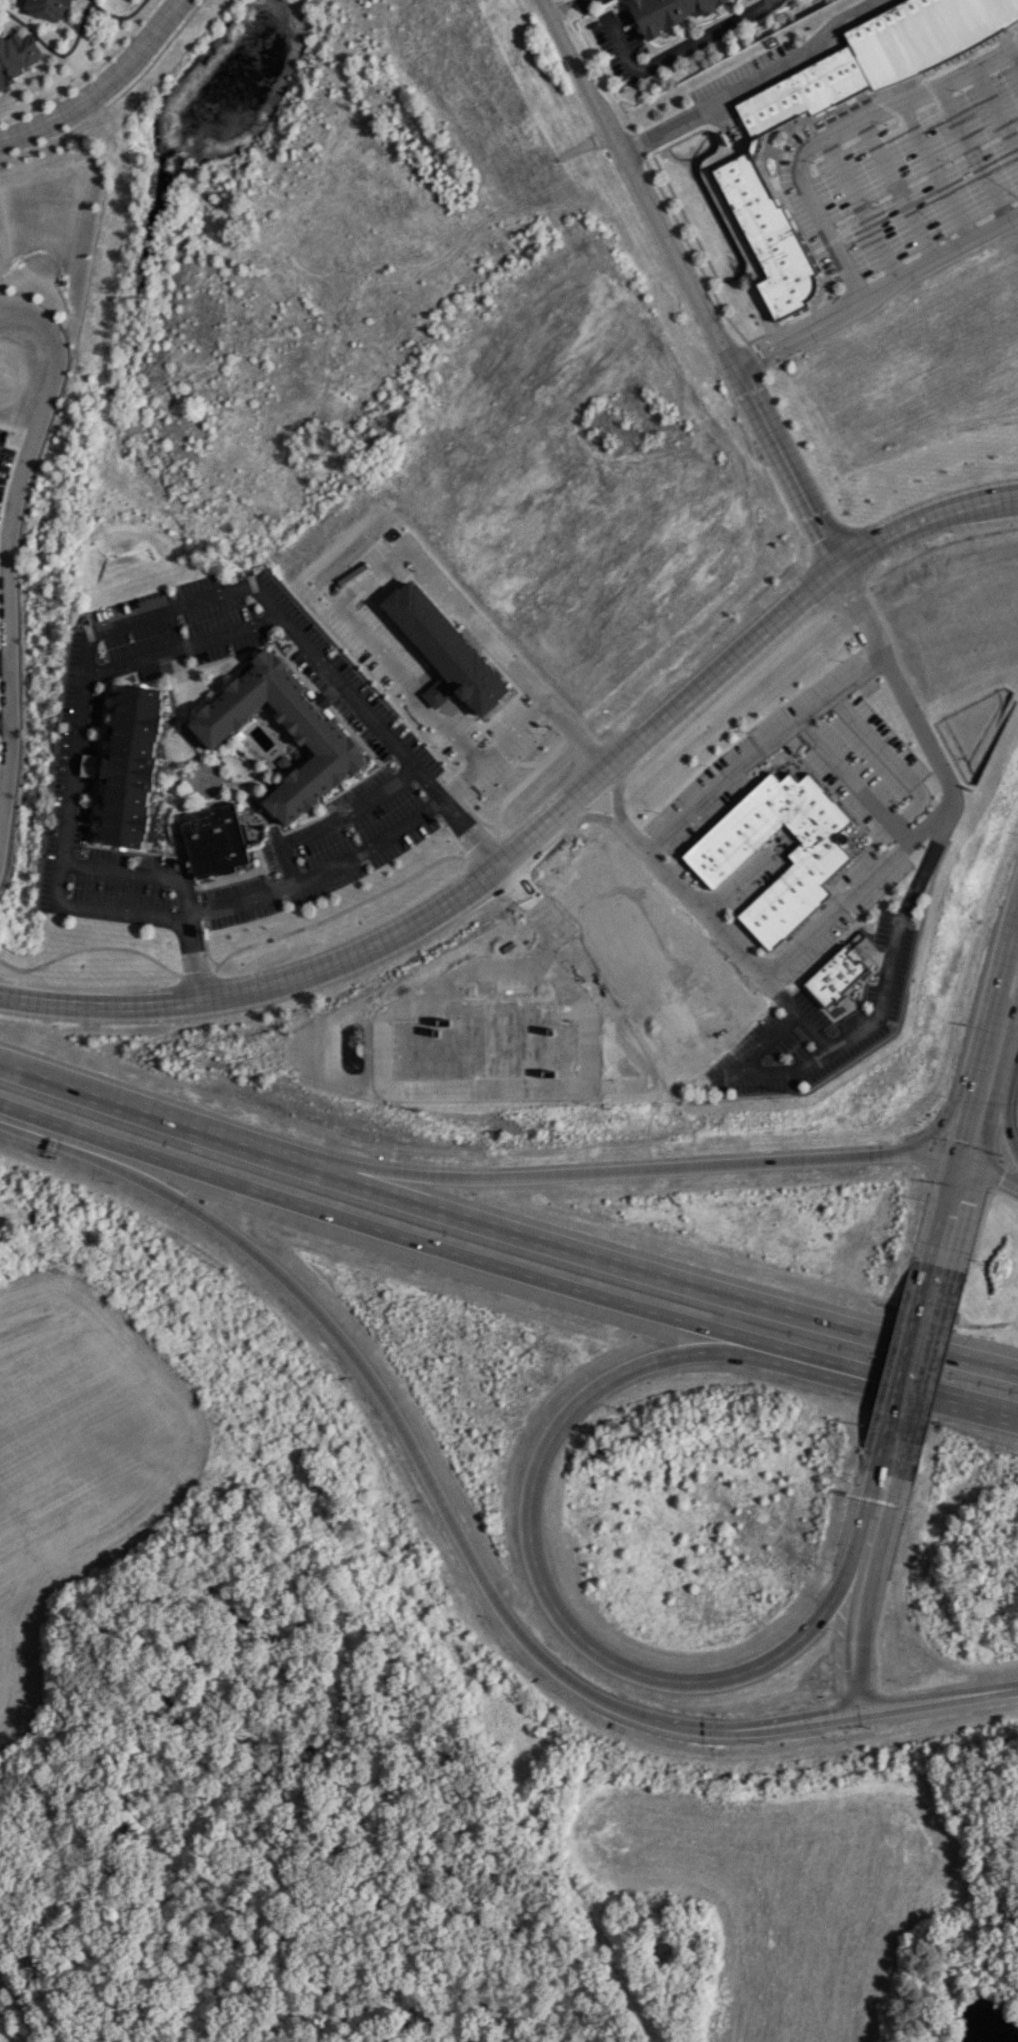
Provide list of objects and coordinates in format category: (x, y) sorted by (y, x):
road: (770, 2)
building: (46, 8)
building: (667, 13)
road: (117, 17)
road: (705, 36)
road: (619, 44)
road: (60, 54)
building: (16, 55)
road: (1014, 55)
road: (88, 73)
road: (755, 82)
road: (101, 85)
road: (919, 94)
road: (116, 98)
road: (997, 107)
road: (973, 152)
building: (748, 156)
road: (935, 170)
road: (899, 188)
road: (861, 206)
road: (818, 217)
road: (678, 224)
road: (752, 249)
road: (691, 283)
road: (875, 289)
road: (762, 334)
road: (921, 519)
road: (9, 558)
road: (369, 576)
road: (176, 638)
building: (445, 646)
road: (5, 662)
road: (7, 720)
road: (919, 728)
building: (320, 736)
road: (756, 747)
road: (890, 757)
building: (132, 767)
road: (851, 777)
road: (459, 780)
road: (616, 791)
road: (591, 816)
building: (175, 831)
building: (215, 839)
building: (808, 872)
road: (732, 884)
road: (280, 889)
road: (856, 890)
road: (464, 891)
road: (707, 920)
road: (238, 947)
building: (835, 977)
road: (994, 993)
road: (1015, 1020)
road: (814, 1030)
road: (818, 1056)
road: (1010, 1090)
road: (995, 1097)
road: (143, 1118)
road: (964, 1124)
road: (942, 1126)
road: (934, 1155)
traffic signals: (967, 1162)
road: (594, 1172)
road: (992, 1173)
road: (951, 1221)
road: (471, 1258)
road: (641, 1274)
road: (348, 1349)
road: (916, 1359)
road: (1008, 1372)
road: (1008, 1373)
road: (983, 1403)
road: (882, 1493)
road: (531, 1504)
road: (854, 1626)
road: (937, 1691)
road: (934, 1703)
traffic signals: (858, 1706)
road: (817, 1713)
road: (819, 1722)
road: (680, 1724)
road: (0, 1907)
road: (6, 1918)
road: (41, 1985)

